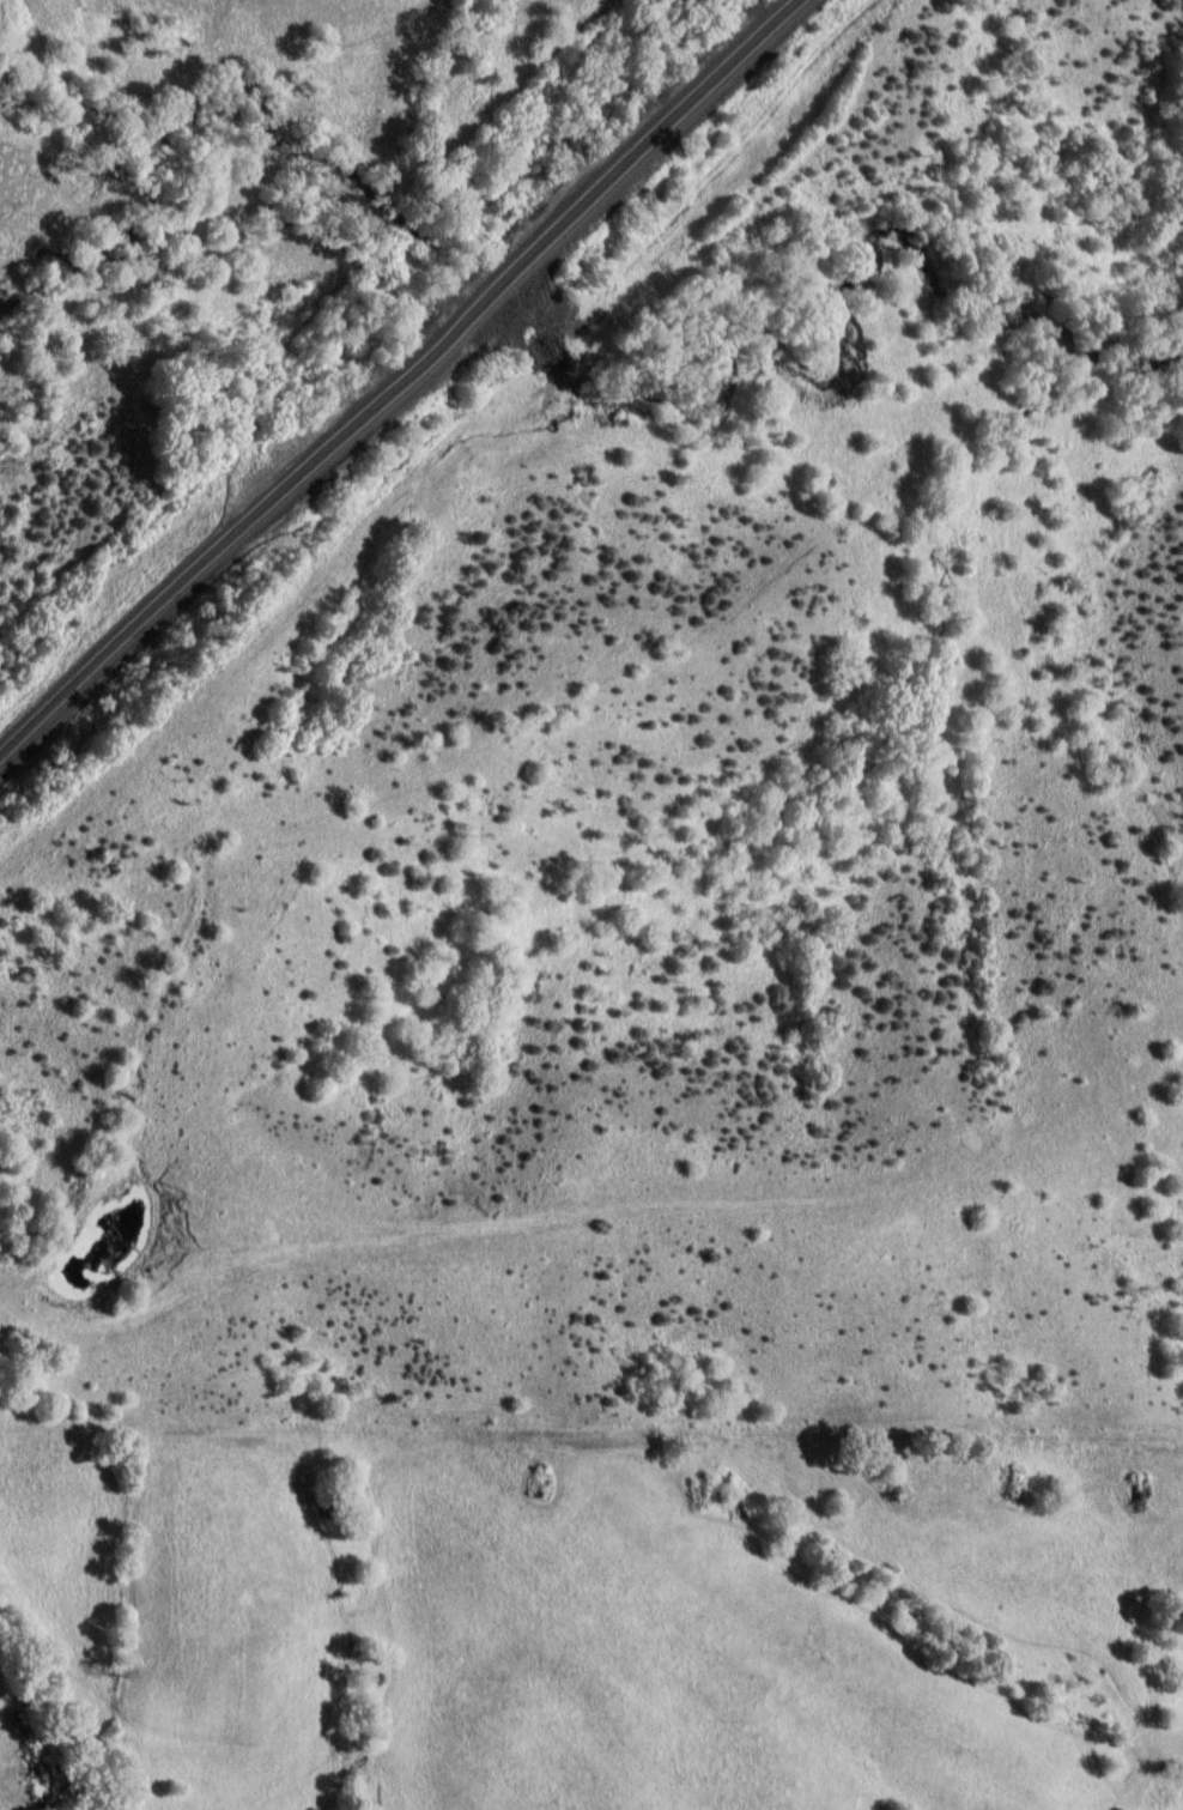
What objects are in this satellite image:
railway: (394, 375)
railway: (402, 385)

